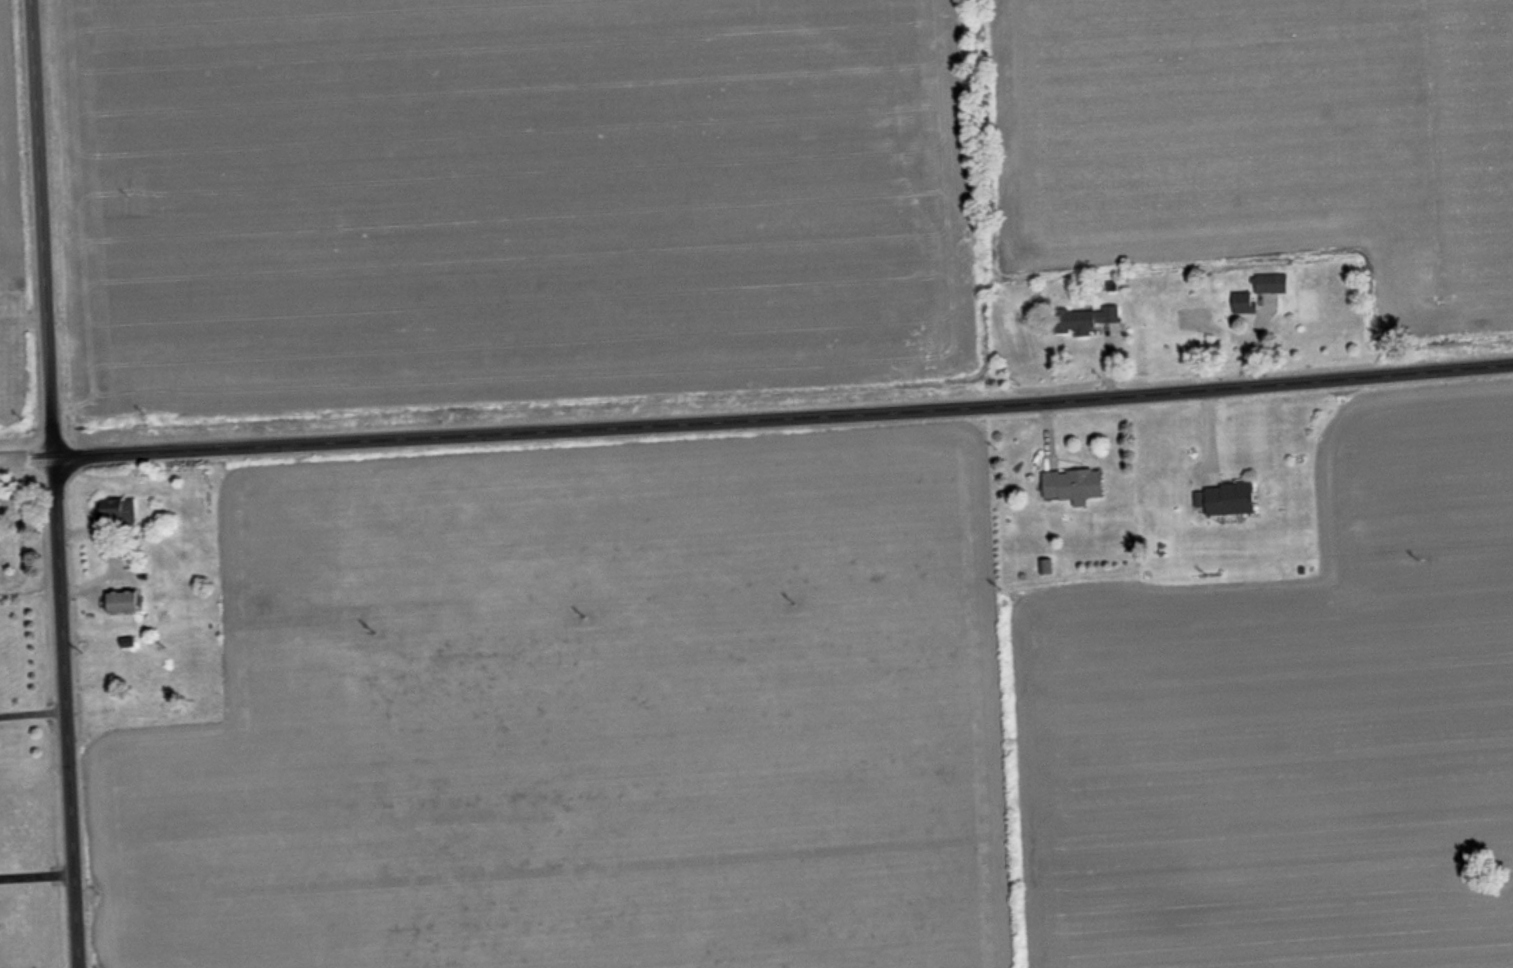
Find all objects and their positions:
building: (1270, 283)
building: (1242, 302)
building: (1083, 318)
road: (757, 422)
road: (53, 483)
building: (1070, 484)
building: (1226, 498)
building: (115, 511)
road: (29, 580)
building: (120, 602)
road: (32, 708)
road: (36, 872)

